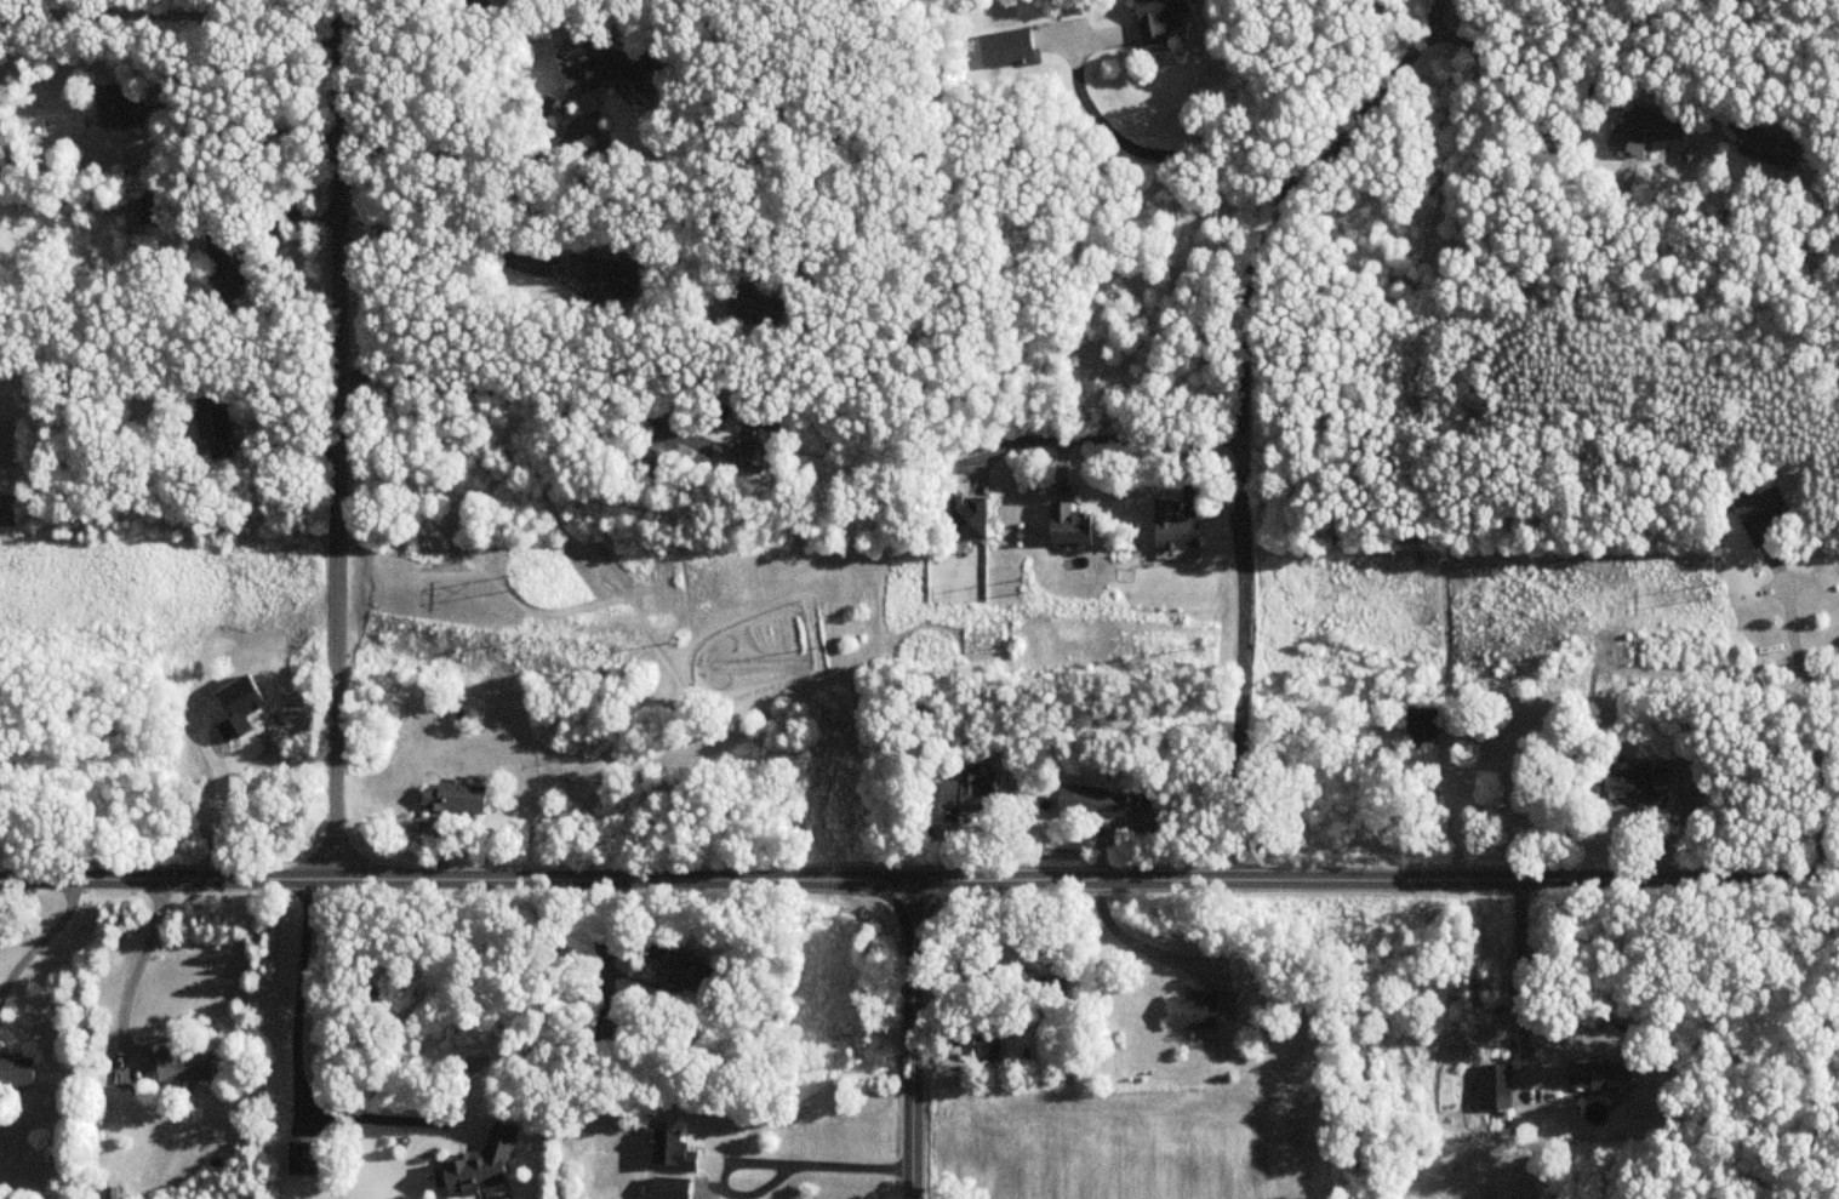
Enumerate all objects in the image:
road: (383, 8)
road: (319, 12)
road: (171, 16)
building: (1158, 18)
building: (1006, 50)
building: (610, 74)
road: (1504, 85)
building: (113, 110)
road: (245, 129)
building: (1644, 132)
building: (1769, 149)
road: (467, 150)
road: (1164, 158)
building: (152, 212)
road: (445, 252)
building: (224, 270)
building: (602, 279)
building: (754, 312)
road: (518, 390)
road: (1243, 412)
building: (210, 419)
road: (1132, 441)
building: (750, 446)
road: (338, 452)
building: (1759, 515)
building: (965, 520)
building: (1067, 527)
building: (1172, 529)
power tower: (507, 567)
power tower: (1018, 577)
power tower: (1720, 583)
road: (1817, 726)
building: (1420, 727)
building: (1622, 784)
building: (965, 790)
building: (453, 798)
building: (1089, 801)
road: (1373, 880)
road: (455, 881)
road: (41, 941)
road: (1133, 941)
building: (1027, 944)
road: (1521, 969)
road: (135, 970)
building: (689, 975)
road: (978, 998)
building: (1227, 1009)
building: (1193, 1012)
road: (909, 1040)
building: (987, 1043)
road: (296, 1052)
building: (182, 1064)
building: (15, 1072)
building: (1597, 1077)
building: (1494, 1086)
building: (669, 1152)
building: (302, 1159)
road: (809, 1161)
building: (475, 1167)
building: (110, 1193)

